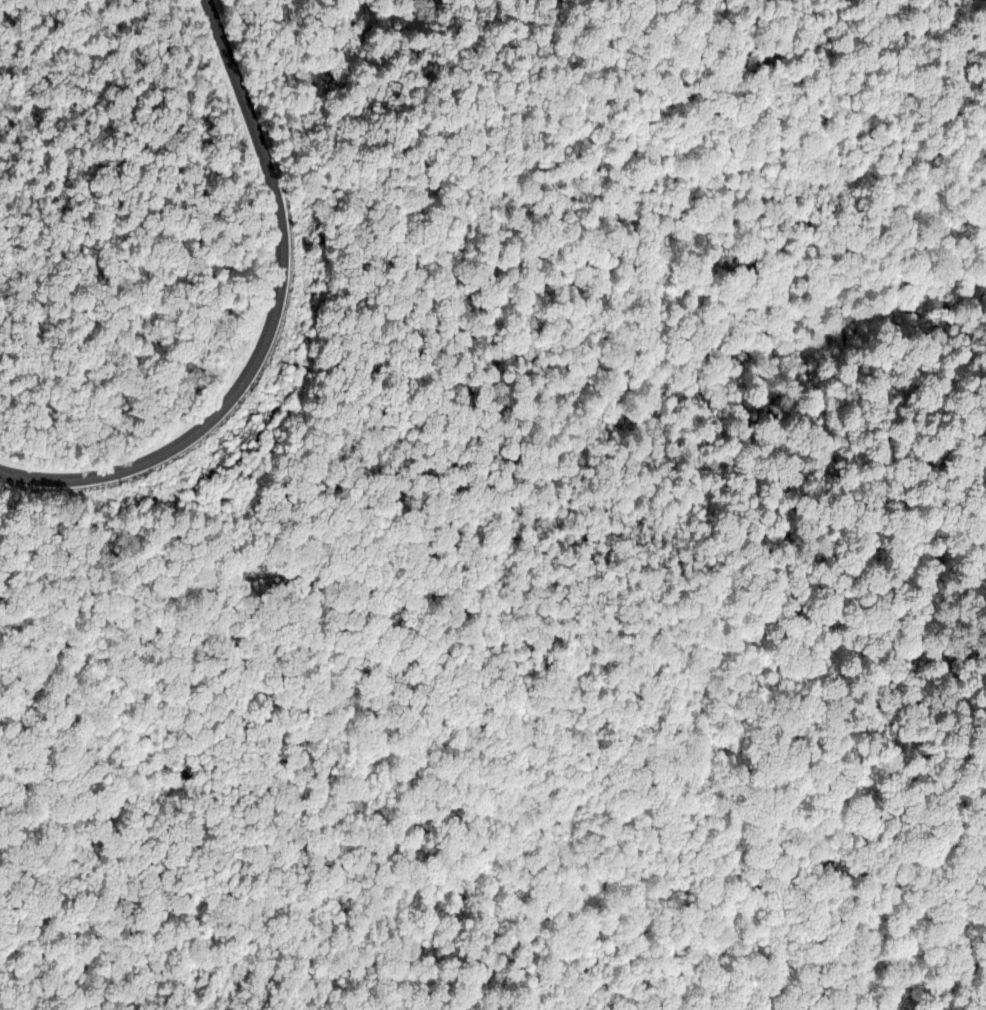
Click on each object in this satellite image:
road: (269, 324)
road: (607, 652)

